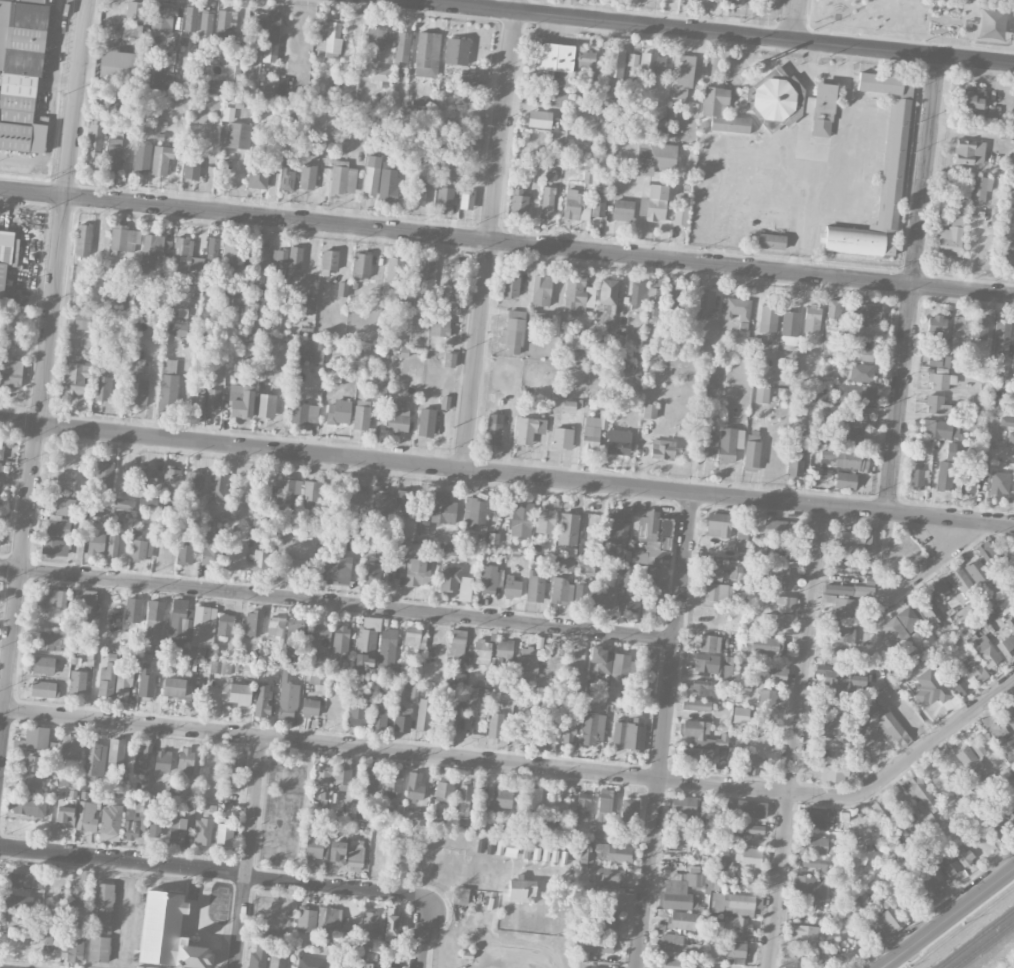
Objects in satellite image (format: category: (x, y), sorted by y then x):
building: (706, 0)
building: (720, 1)
building: (736, 1)
building: (769, 2)
building: (134, 10)
building: (163, 17)
building: (190, 18)
park: (923, 18)
road: (793, 20)
building: (991, 24)
building: (225, 27)
road: (671, 27)
building: (132, 29)
building: (205, 29)
building: (271, 35)
building: (329, 37)
building: (378, 38)
building: (456, 51)
building: (401, 53)
building: (427, 54)
building: (633, 59)
road: (976, 59)
building: (615, 62)
building: (652, 63)
building: (554, 64)
building: (584, 65)
building: (117, 66)
building: (236, 73)
building: (379, 73)
building: (21, 74)
building: (468, 77)
building: (681, 78)
building: (162, 79)
building: (613, 81)
building: (774, 96)
building: (973, 98)
building: (419, 105)
building: (114, 109)
building: (823, 109)
building: (722, 112)
building: (993, 112)
building: (539, 119)
building: (238, 135)
building: (407, 146)
building: (93, 147)
building: (969, 152)
building: (112, 154)
building: (142, 157)
building: (655, 158)
building: (893, 158)
building: (161, 159)
building: (191, 166)
building: (371, 175)
building: (257, 176)
building: (307, 176)
building: (287, 178)
building: (342, 178)
building: (388, 181)
building: (981, 187)
building: (418, 191)
building: (444, 197)
building: (466, 201)
building: (652, 201)
building: (518, 202)
building: (547, 202)
building: (576, 205)
building: (598, 205)
building: (622, 210)
building: (680, 211)
building: (952, 229)
road: (488, 235)
building: (124, 238)
building: (83, 240)
building: (770, 241)
road: (506, 242)
building: (213, 249)
building: (154, 250)
building: (231, 253)
building: (1008, 254)
building: (185, 256)
building: (261, 257)
building: (329, 259)
building: (280, 261)
building: (4, 264)
building: (361, 265)
building: (293, 269)
building: (394, 269)
building: (425, 276)
building: (457, 279)
building: (510, 284)
road: (913, 285)
building: (342, 289)
building: (541, 290)
building: (637, 293)
building: (578, 295)
building: (673, 297)
building: (406, 299)
building: (607, 301)
building: (242, 302)
building: (307, 302)
building: (653, 302)
building: (705, 303)
building: (737, 308)
building: (833, 308)
building: (848, 314)
building: (865, 314)
building: (768, 318)
building: (811, 318)
building: (541, 319)
building: (81, 321)
building: (555, 325)
building: (439, 327)
building: (789, 328)
building: (936, 328)
building: (178, 329)
building: (832, 329)
building: (959, 330)
building: (981, 330)
building: (513, 332)
building: (1001, 333)
building: (829, 343)
building: (861, 353)
building: (318, 356)
building: (936, 357)
building: (449, 359)
building: (861, 372)
building: (11, 374)
building: (75, 374)
road: (43, 378)
building: (941, 381)
building: (168, 383)
building: (138, 384)
building: (102, 388)
building: (235, 391)
building: (379, 391)
building: (857, 393)
building: (761, 394)
building: (213, 400)
building: (196, 402)
building: (445, 402)
building: (977, 402)
building: (243, 403)
building: (568, 405)
building: (936, 405)
building: (265, 406)
building: (650, 411)
building: (338, 412)
building: (304, 413)
building: (361, 415)
building: (397, 415)
building: (849, 417)
building: (426, 422)
building: (1006, 422)
building: (949, 427)
building: (493, 429)
building: (529, 429)
building: (593, 432)
building: (562, 438)
building: (850, 438)
building: (1011, 439)
building: (618, 442)
building: (707, 445)
building: (727, 445)
building: (662, 449)
building: (752, 449)
building: (1, 450)
building: (796, 456)
building: (844, 458)
building: (0, 467)
road: (443, 468)
building: (819, 472)
building: (944, 475)
building: (147, 477)
building: (104, 478)
building: (916, 478)
building: (171, 479)
building: (66, 480)
building: (845, 480)
building: (999, 482)
building: (195, 483)
building: (967, 483)
building: (216, 489)
building: (285, 493)
building: (357, 493)
building: (309, 495)
building: (404, 500)
building: (382, 502)
building: (123, 503)
building: (63, 504)
building: (148, 504)
building: (443, 508)
building: (234, 512)
building: (474, 514)
building: (146, 517)
building: (521, 519)
road: (951, 519)
building: (545, 520)
building: (718, 524)
building: (422, 525)
building: (614, 525)
building: (58, 527)
building: (568, 528)
building: (779, 530)
building: (624, 533)
building: (650, 537)
building: (853, 537)
building: (95, 541)
building: (740, 541)
building: (112, 545)
building: (55, 547)
building: (398, 548)
building: (141, 549)
building: (451, 549)
building: (782, 550)
building: (986, 551)
building: (184, 554)
building: (212, 554)
building: (236, 557)
building: (260, 561)
building: (566, 563)
building: (291, 567)
building: (336, 568)
road: (927, 569)
building: (372, 571)
building: (418, 572)
building: (710, 573)
building: (977, 573)
building: (782, 575)
building: (489, 579)
building: (455, 582)
building: (964, 585)
building: (512, 586)
building: (535, 587)
building: (653, 589)
building: (561, 590)
building: (862, 591)
building: (939, 591)
building: (717, 594)
building: (583, 595)
building: (605, 596)
building: (629, 596)
building: (50, 597)
building: (838, 601)
building: (86, 603)
building: (785, 604)
building: (1006, 604)
road: (338, 605)
building: (132, 610)
building: (931, 613)
building: (155, 617)
building: (908, 618)
building: (180, 621)
building: (252, 622)
building: (773, 622)
building: (224, 625)
building: (1011, 625)
building: (276, 628)
building: (202, 630)
building: (843, 631)
building: (293, 634)
building: (320, 637)
building: (414, 637)
building: (898, 638)
building: (340, 639)
building: (47, 641)
building: (457, 642)
building: (709, 643)
building: (387, 644)
building: (765, 644)
building: (1007, 647)
building: (365, 649)
building: (504, 649)
building: (983, 650)
building: (484, 652)
building: (845, 655)
building: (528, 660)
building: (599, 660)
building: (565, 661)
building: (705, 663)
building: (44, 665)
building: (620, 666)
building: (646, 666)
building: (219, 667)
building: (975, 669)
building: (727, 671)
building: (773, 674)
building: (842, 677)
building: (106, 680)
building: (77, 681)
building: (318, 681)
building: (146, 682)
building: (956, 682)
road: (1013, 683)
building: (123, 684)
building: (930, 687)
building: (177, 688)
building: (703, 688)
building: (727, 688)
building: (43, 689)
building: (451, 691)
building: (413, 692)
building: (235, 693)
building: (287, 696)
building: (471, 696)
building: (505, 697)
building: (766, 697)
building: (262, 699)
building: (834, 702)
building: (698, 705)
building: (310, 707)
building: (541, 709)
building: (357, 712)
building: (1008, 713)
building: (425, 714)
building: (378, 717)
building: (450, 718)
building: (402, 720)
building: (495, 725)
building: (829, 726)
building: (592, 728)
building: (891, 728)
building: (569, 731)
road: (664, 731)
building: (696, 732)
building: (523, 734)
building: (628, 734)
building: (999, 734)
building: (540, 736)
building: (36, 737)
road: (795, 737)
building: (721, 741)
building: (70, 747)
building: (977, 748)
building: (116, 751)
building: (697, 755)
building: (94, 759)
building: (162, 760)
building: (142, 761)
building: (185, 761)
building: (970, 762)
building: (34, 763)
building: (754, 764)
road: (525, 766)
building: (232, 771)
building: (834, 772)
building: (322, 773)
building: (342, 778)
building: (367, 780)
building: (29, 781)
building: (392, 785)
building: (414, 787)
building: (444, 791)
building: (85, 795)
building: (920, 795)
building: (1013, 796)
building: (465, 797)
building: (502, 799)
building: (533, 800)
building: (27, 805)
building: (140, 805)
building: (684, 805)
building: (606, 806)
building: (349, 809)
building: (582, 809)
building: (629, 809)
building: (750, 809)
building: (879, 809)
building: (1008, 811)
building: (65, 816)
building: (85, 816)
building: (815, 816)
building: (416, 817)
building: (110, 823)
building: (130, 825)
building: (154, 827)
building: (998, 827)
building: (754, 829)
building: (177, 831)
building: (202, 831)
building: (224, 836)
building: (676, 837)
building: (812, 844)
building: (314, 847)
building: (510, 848)
building: (336, 851)
road: (248, 853)
building: (355, 853)
building: (584, 853)
building: (618, 853)
building: (961, 854)
building: (747, 855)
road: (123, 859)
building: (723, 861)
building: (811, 862)
building: (948, 863)
building: (610, 876)
building: (25, 880)
building: (926, 885)
building: (808, 887)
road: (335, 888)
building: (520, 889)
building: (680, 891)
building: (460, 895)
building: (16, 897)
building: (78, 899)
building: (744, 903)
building: (851, 906)
building: (101, 907)
building: (328, 918)
road: (948, 918)
building: (609, 919)
building: (306, 920)
building: (681, 920)
building: (13, 922)
building: (883, 922)
building: (371, 924)
building: (736, 926)
building: (167, 933)
road: (422, 933)
building: (808, 933)
building: (48, 935)
railway: (975, 938)
road: (516, 941)
building: (673, 944)
railway: (982, 944)
building: (597, 945)
building: (72, 947)
building: (98, 949)
building: (735, 952)
building: (582, 954)
building: (258, 956)
building: (789, 956)
building: (276, 960)
building: (311, 962)
building: (670, 963)
building: (370, 965)
building: (333, 967)
building: (388, 967)
building: (597, 967)

